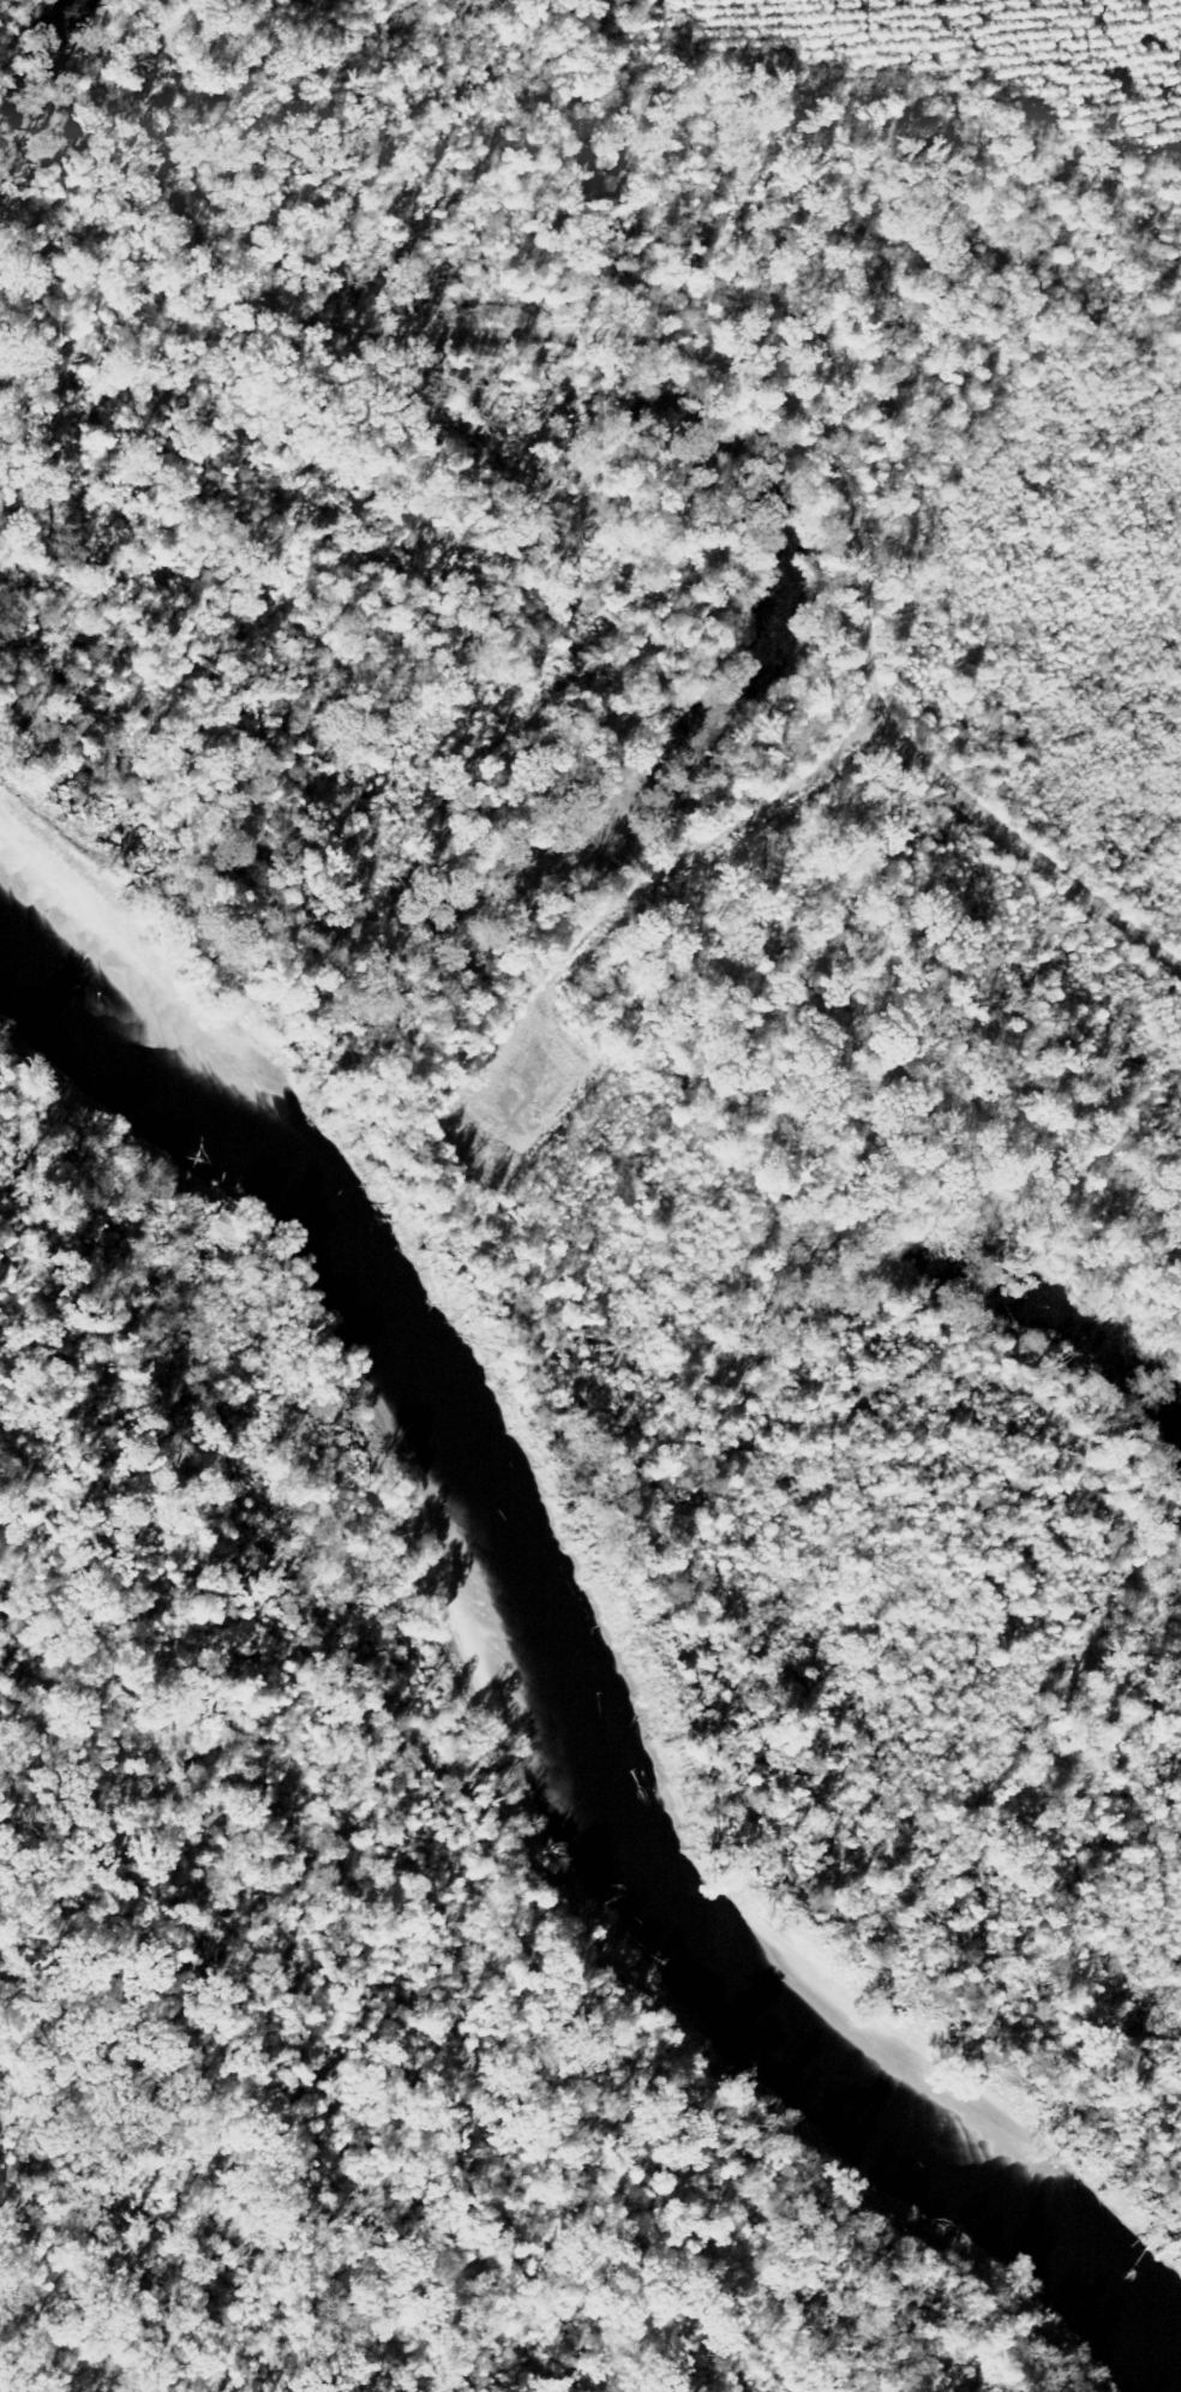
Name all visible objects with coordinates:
road: (755, 366)
river: (505, 1668)

